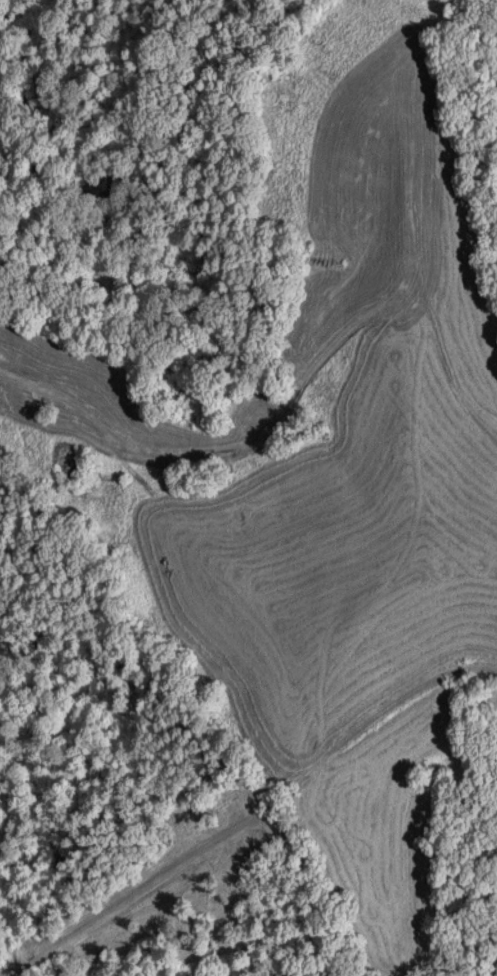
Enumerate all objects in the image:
road: (262, 824)

